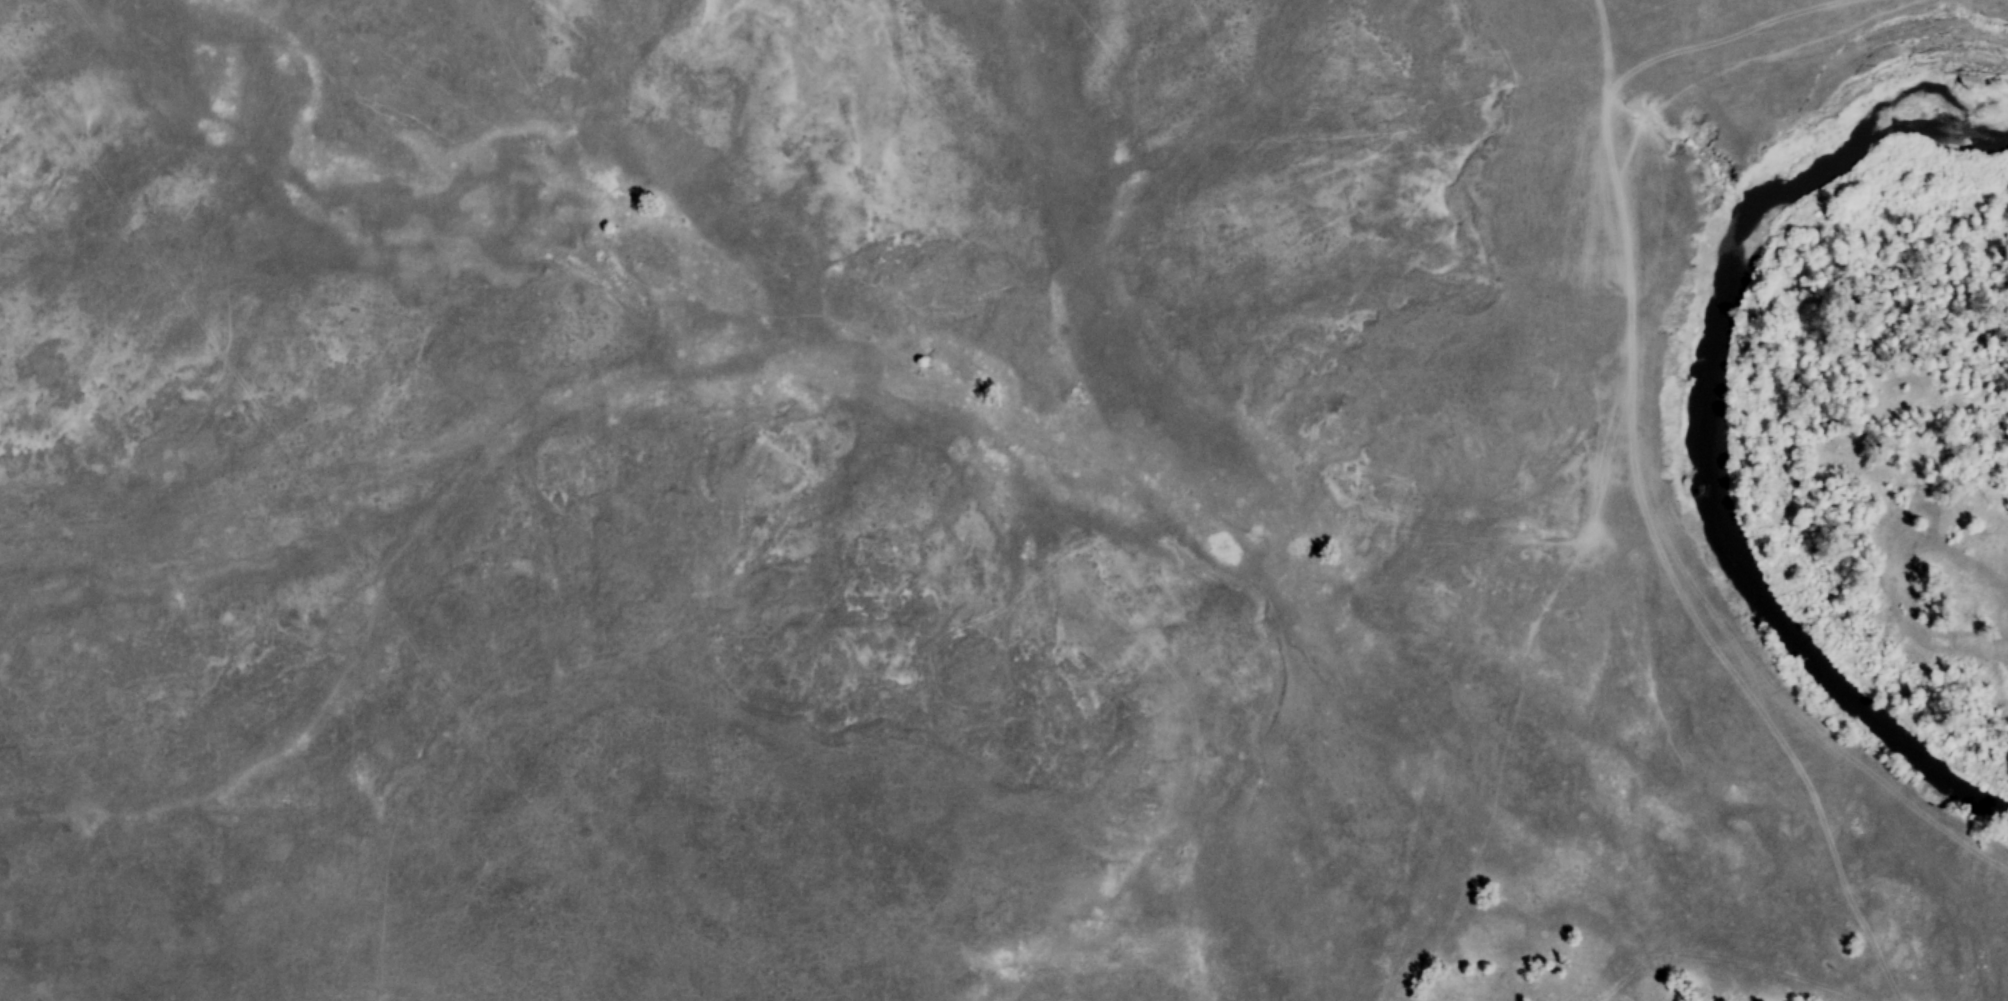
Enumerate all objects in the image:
river: (1714, 431)

